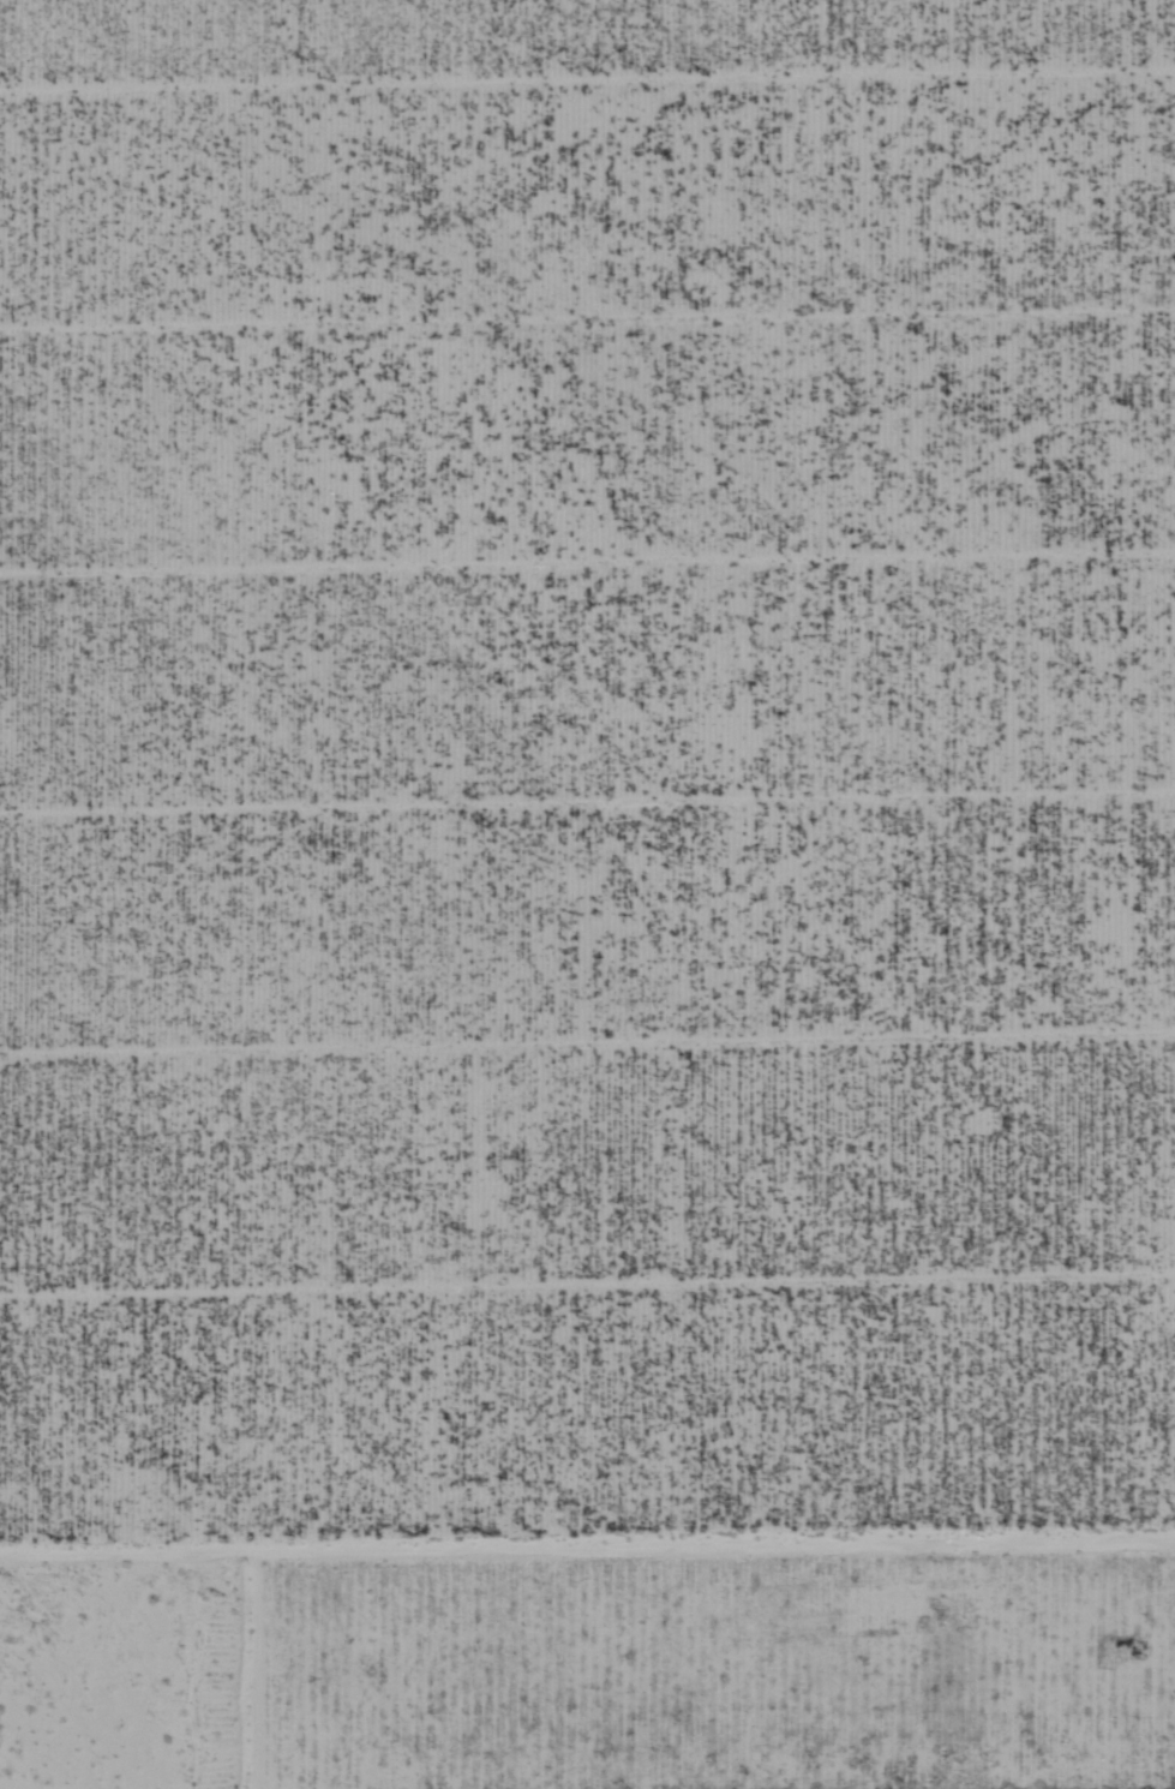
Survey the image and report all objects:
building: (1119, 1163)

